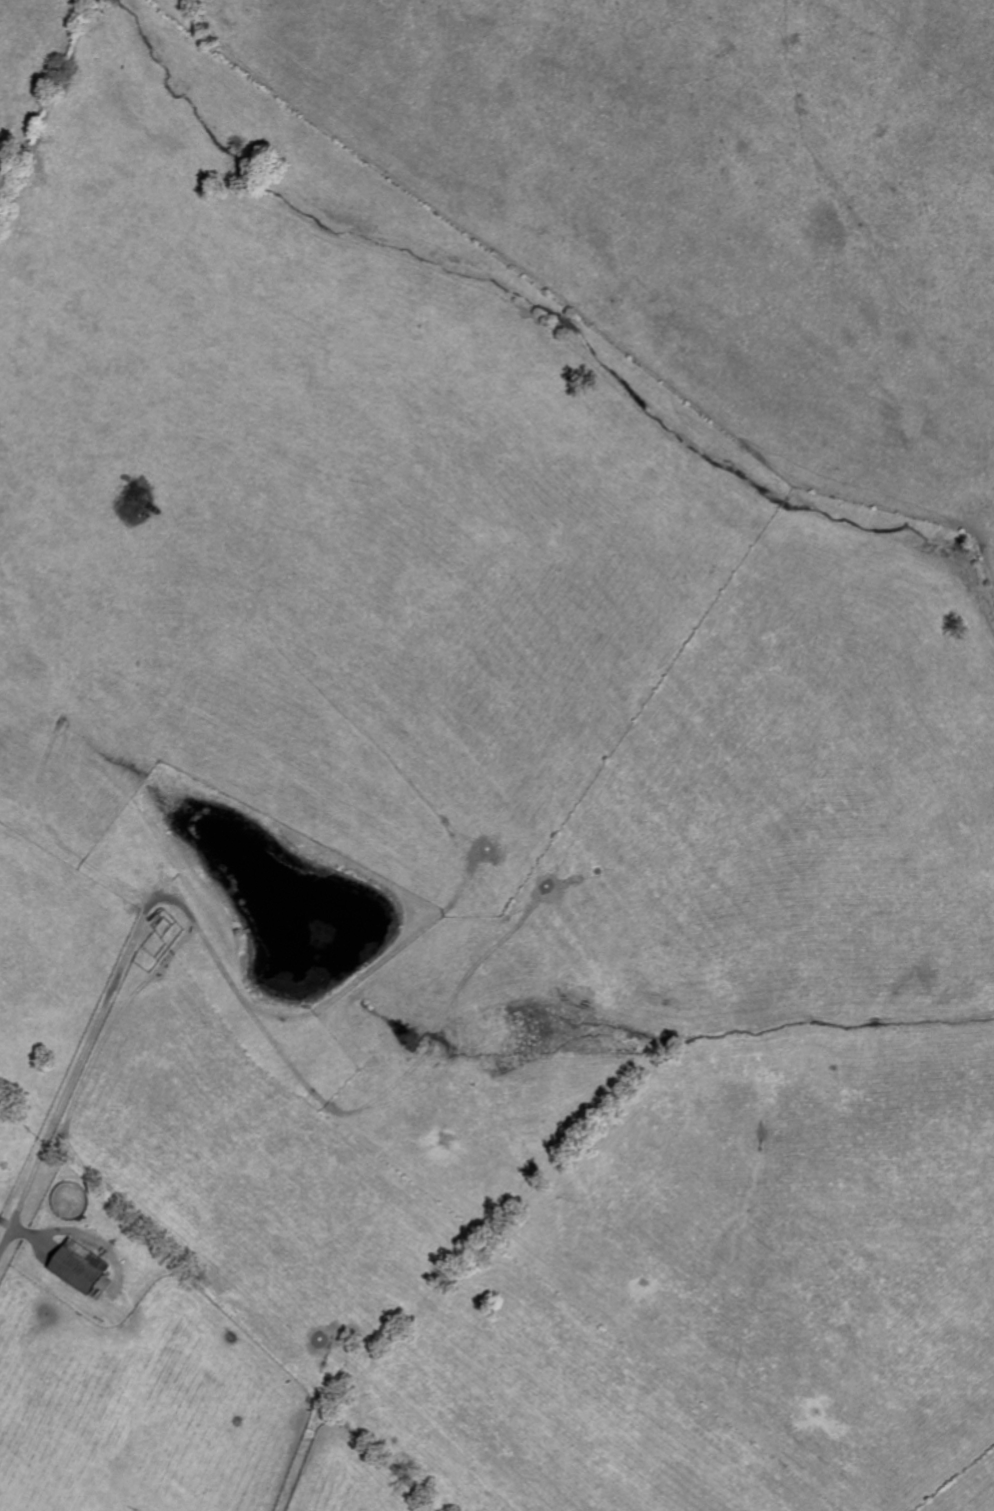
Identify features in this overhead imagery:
road: (3, 1241)
building: (73, 1265)

